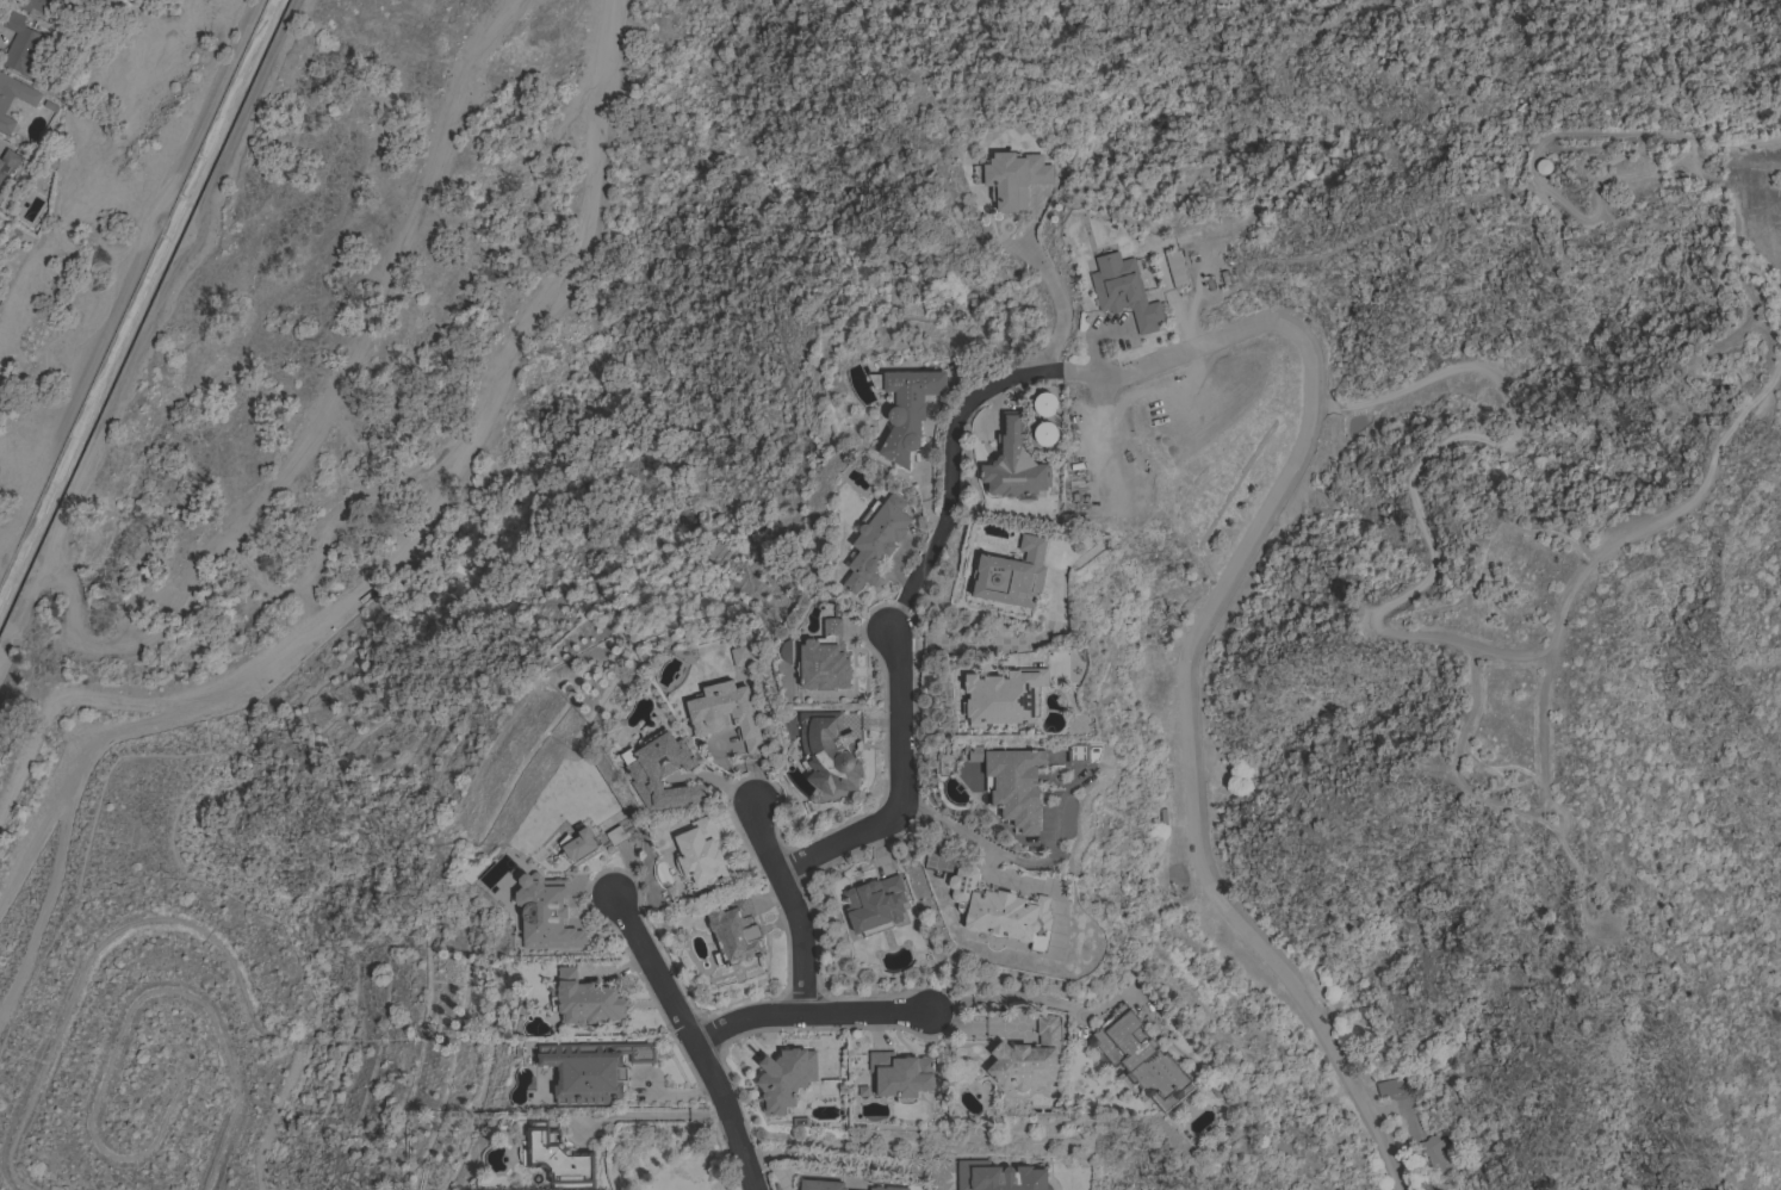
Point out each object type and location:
building: (77, 0)
building: (39, 4)
building: (23, 45)
building: (30, 101)
road: (1735, 143)
building: (10, 165)
building: (1539, 165)
storage tank: (1541, 166)
building: (1012, 178)
road: (1540, 181)
building: (1174, 268)
road: (123, 278)
road: (1053, 289)
building: (1123, 291)
road: (150, 326)
building: (1043, 403)
building: (1029, 404)
building: (905, 408)
road: (327, 410)
building: (1043, 433)
building: (1029, 434)
building: (1012, 465)
road: (1267, 503)
road: (1631, 528)
building: (874, 539)
road: (385, 571)
building: (1010, 575)
road: (1408, 585)
road: (986, 644)
building: (738, 656)
building: (824, 659)
road: (81, 695)
building: (1003, 696)
building: (725, 713)
road: (1538, 743)
building: (825, 752)
building: (660, 771)
building: (1012, 783)
road: (899, 789)
building: (615, 835)
building: (576, 843)
road: (29, 844)
building: (699, 853)
road: (995, 853)
road: (1041, 891)
building: (874, 904)
road: (786, 909)
building: (999, 910)
building: (544, 912)
road: (170, 917)
building: (734, 931)
building: (584, 1000)
road: (991, 1000)
road: (126, 1012)
road: (802, 1017)
road: (695, 1039)
building: (1028, 1059)
building: (1140, 1059)
building: (590, 1068)
building: (900, 1074)
building: (783, 1078)
building: (1390, 1086)
building: (1436, 1153)
building: (556, 1158)
road: (844, 1160)
building: (998, 1177)
building: (819, 1184)
building: (886, 1188)

